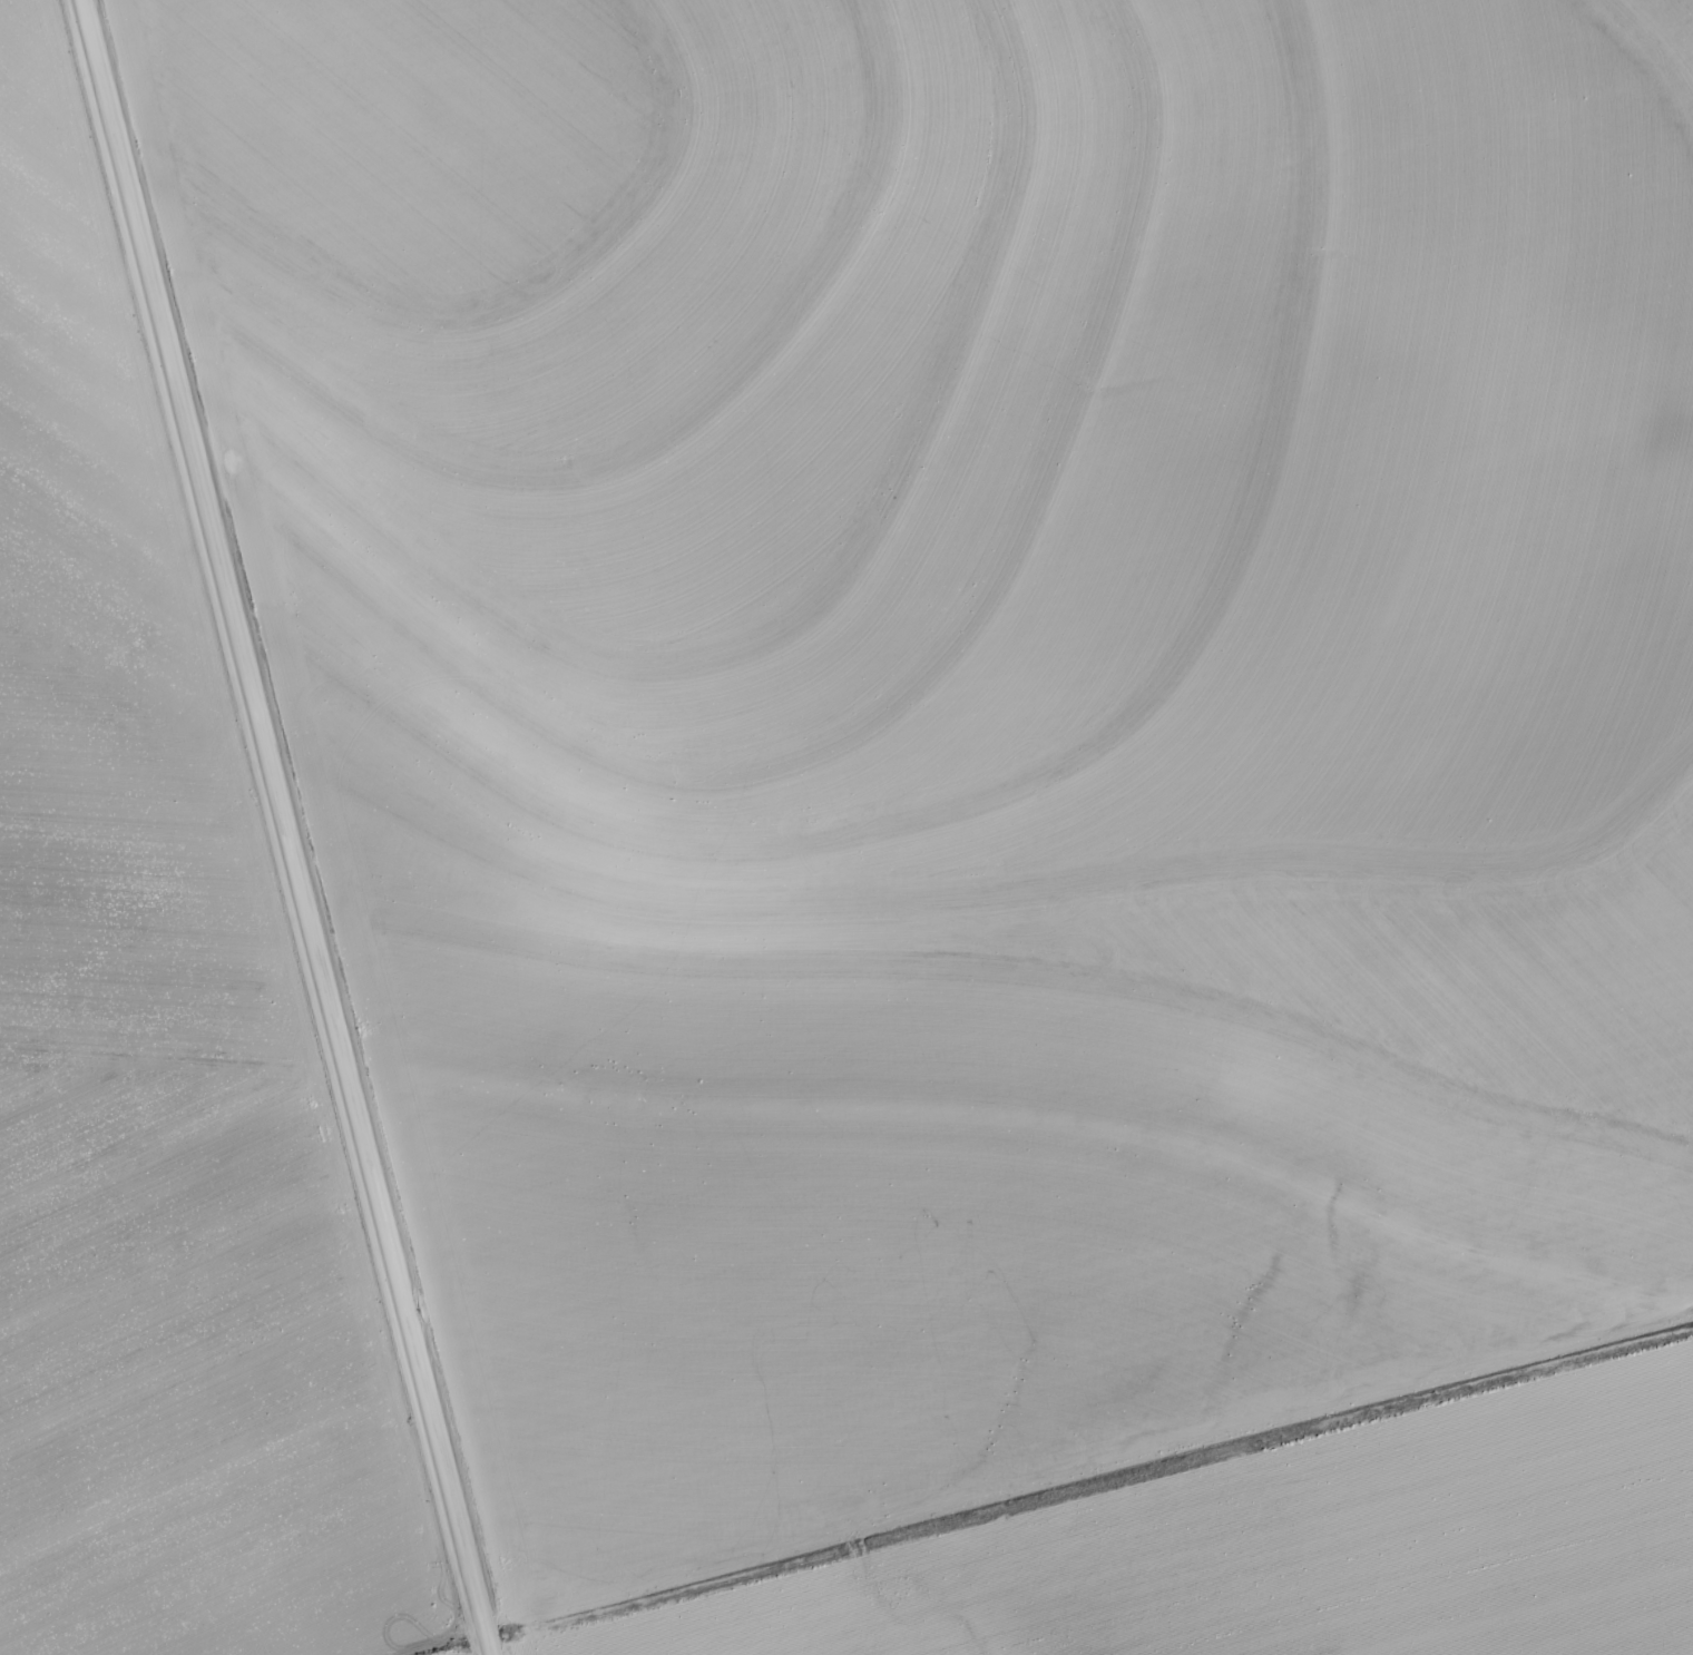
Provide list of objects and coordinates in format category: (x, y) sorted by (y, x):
road: (287, 826)

